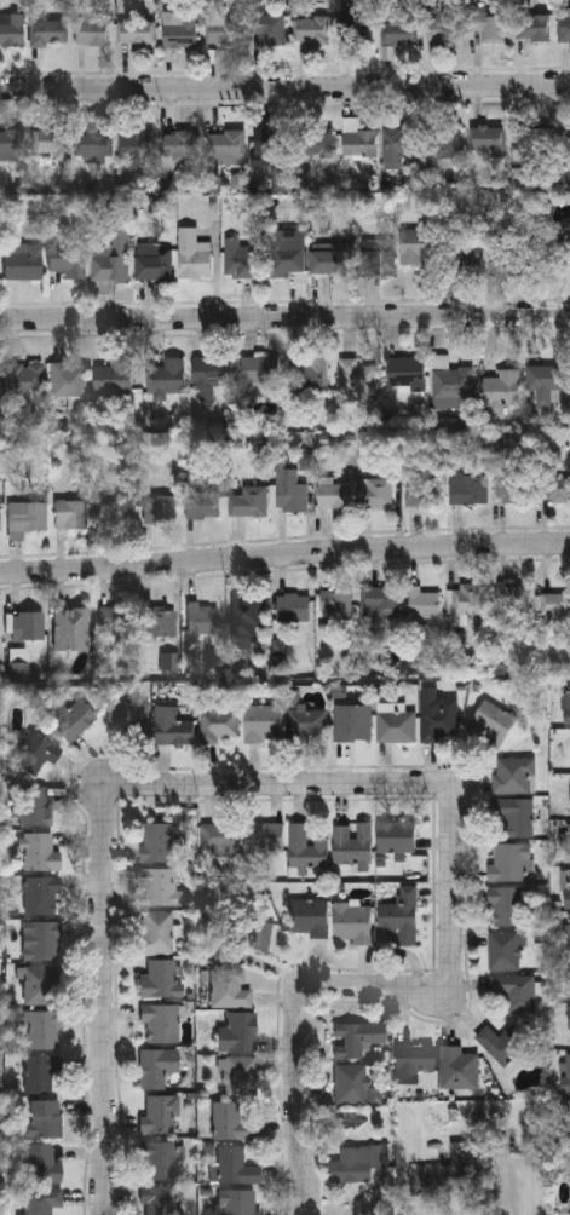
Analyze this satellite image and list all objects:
building: (489, 25)
building: (401, 27)
building: (532, 27)
building: (565, 28)
building: (178, 29)
building: (223, 29)
building: (271, 29)
building: (311, 29)
building: (356, 29)
building: (444, 29)
building: (12, 30)
building: (91, 31)
building: (47, 33)
building: (136, 33)
road: (284, 87)
building: (489, 138)
building: (226, 142)
building: (316, 142)
building: (444, 142)
building: (50, 143)
building: (180, 143)
building: (270, 143)
building: (543, 143)
building: (11, 144)
building: (136, 144)
building: (93, 145)
building: (398, 145)
building: (419, 243)
building: (464, 249)
building: (192, 254)
building: (287, 254)
building: (378, 257)
building: (111, 258)
building: (329, 258)
building: (508, 258)
building: (67, 260)
building: (22, 261)
building: (243, 261)
building: (154, 263)
road: (284, 317)
building: (260, 372)
building: (168, 374)
building: (211, 374)
building: (311, 374)
building: (405, 374)
building: (113, 376)
building: (358, 379)
building: (69, 380)
building: (24, 381)
building: (547, 381)
building: (451, 382)
building: (502, 388)
building: (468, 488)
building: (511, 488)
building: (554, 489)
building: (424, 490)
building: (289, 491)
building: (379, 493)
building: (334, 495)
building: (248, 501)
building: (202, 506)
building: (159, 508)
building: (114, 513)
building: (71, 514)
building: (27, 516)
building: (0, 522)
road: (284, 553)
building: (513, 598)
building: (381, 601)
building: (336, 603)
building: (422, 603)
building: (465, 604)
building: (554, 605)
building: (293, 606)
building: (247, 615)
building: (203, 618)
building: (116, 622)
building: (157, 623)
building: (28, 626)
building: (70, 630)
building: (172, 664)
building: (566, 703)
building: (438, 718)
building: (127, 719)
building: (69, 720)
building: (352, 721)
building: (261, 722)
building: (306, 724)
building: (219, 725)
building: (488, 725)
building: (395, 726)
building: (171, 727)
building: (33, 755)
building: (513, 775)
road: (280, 784)
building: (35, 806)
building: (514, 817)
building: (395, 836)
building: (263, 837)
building: (218, 839)
building: (155, 842)
building: (566, 842)
building: (351, 845)
building: (304, 848)
building: (40, 853)
building: (508, 863)
building: (161, 887)
building: (568, 888)
building: (40, 896)
building: (506, 906)
building: (397, 916)
building: (307, 917)
building: (351, 922)
building: (156, 933)
building: (569, 934)
building: (260, 939)
building: (240, 940)
building: (42, 943)
building: (505, 951)
building: (160, 980)
road: (353, 984)
building: (40, 985)
building: (229, 989)
building: (514, 991)
road: (105, 1001)
building: (568, 1018)
building: (160, 1023)
building: (41, 1031)
building: (237, 1033)
building: (357, 1038)
building: (502, 1042)
building: (414, 1058)
building: (456, 1066)
building: (156, 1067)
building: (566, 1072)
building: (40, 1073)
building: (240, 1077)
building: (350, 1083)
building: (161, 1115)
building: (565, 1118)
building: (42, 1121)
building: (229, 1122)
building: (157, 1161)
building: (359, 1164)
building: (41, 1165)
building: (232, 1167)
building: (447, 1171)
building: (42, 1200)
building: (157, 1200)
building: (237, 1203)
road: (378, 1203)

